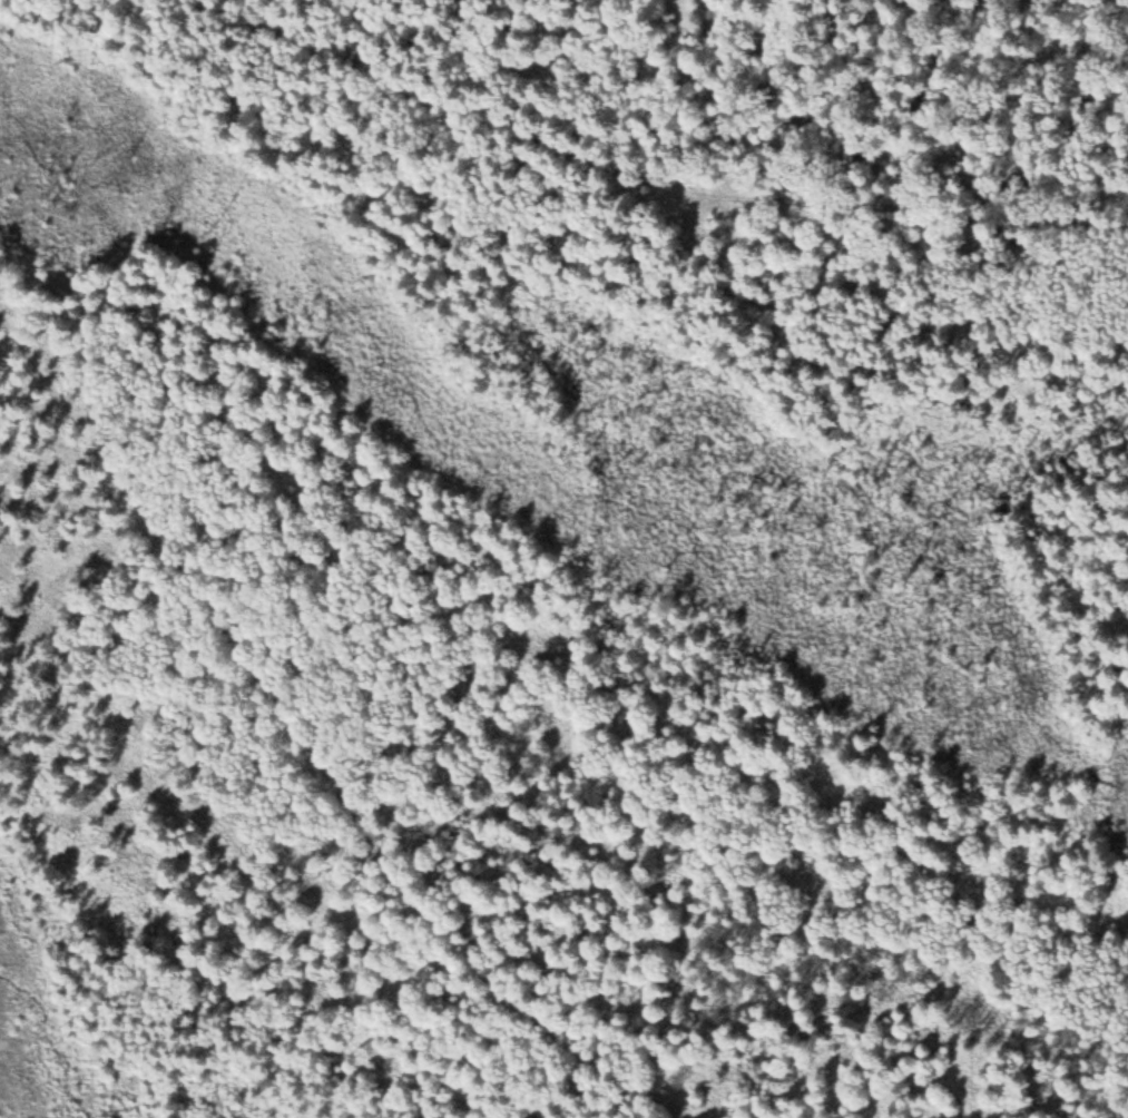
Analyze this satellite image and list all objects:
road: (320, 752)

